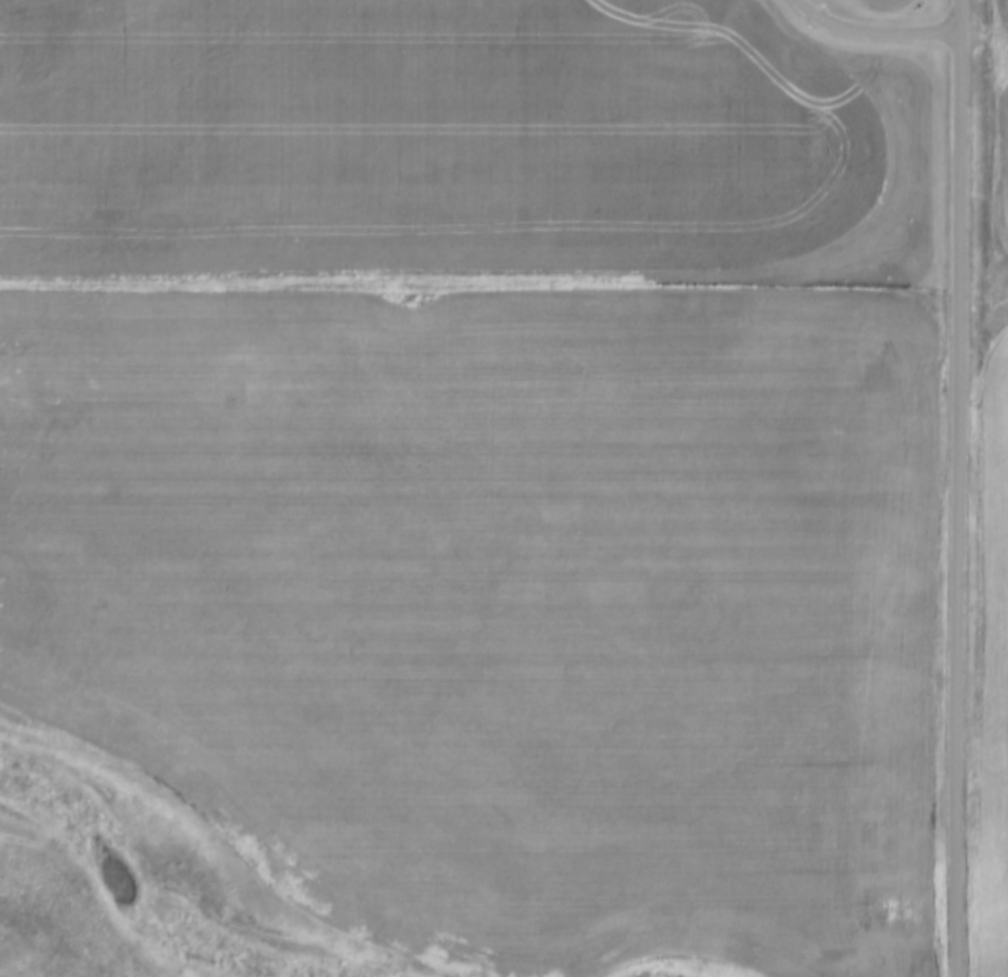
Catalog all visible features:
road: (956, 488)

